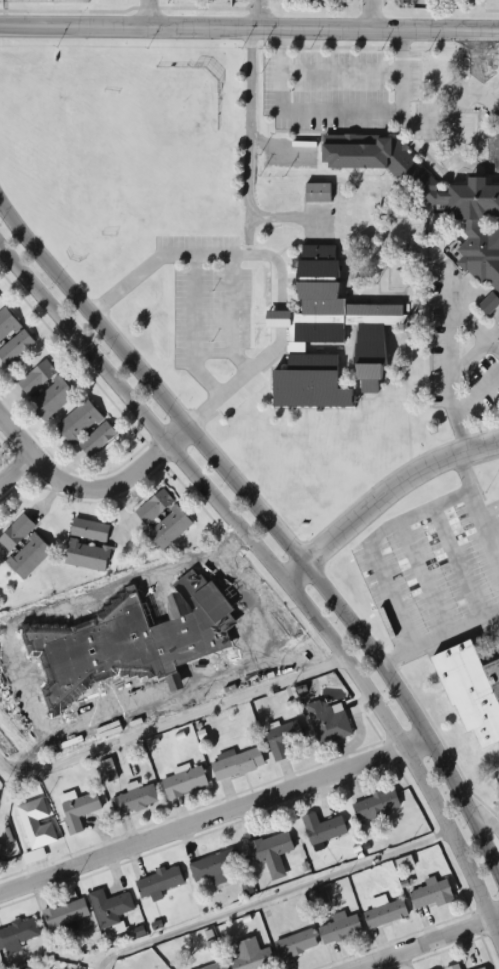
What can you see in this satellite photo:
road: (258, 16)
road: (371, 17)
road: (249, 32)
building: (474, 189)
building: (317, 193)
building: (317, 262)
building: (6, 324)
building: (16, 348)
building: (370, 348)
building: (37, 378)
building: (51, 399)
building: (87, 430)
road: (16, 468)
road: (90, 490)
road: (385, 496)
building: (162, 519)
road: (269, 522)
building: (90, 530)
building: (23, 547)
building: (87, 555)
road: (278, 568)
building: (250, 635)
building: (474, 692)
road: (171, 722)
building: (328, 724)
building: (283, 739)
building: (238, 764)
building: (109, 769)
building: (184, 783)
building: (134, 800)
building: (376, 805)
building: (78, 811)
road: (216, 813)
road: (487, 819)
building: (323, 828)
building: (37, 834)
building: (0, 845)
building: (272, 853)
building: (215, 867)
building: (159, 882)
building: (431, 895)
road: (274, 896)
building: (110, 908)
building: (66, 914)
building: (385, 914)
building: (339, 928)
building: (17, 936)
road: (425, 942)
building: (296, 944)
building: (251, 956)
building: (218, 967)
building: (454, 967)
building: (33, 968)
building: (484, 968)

